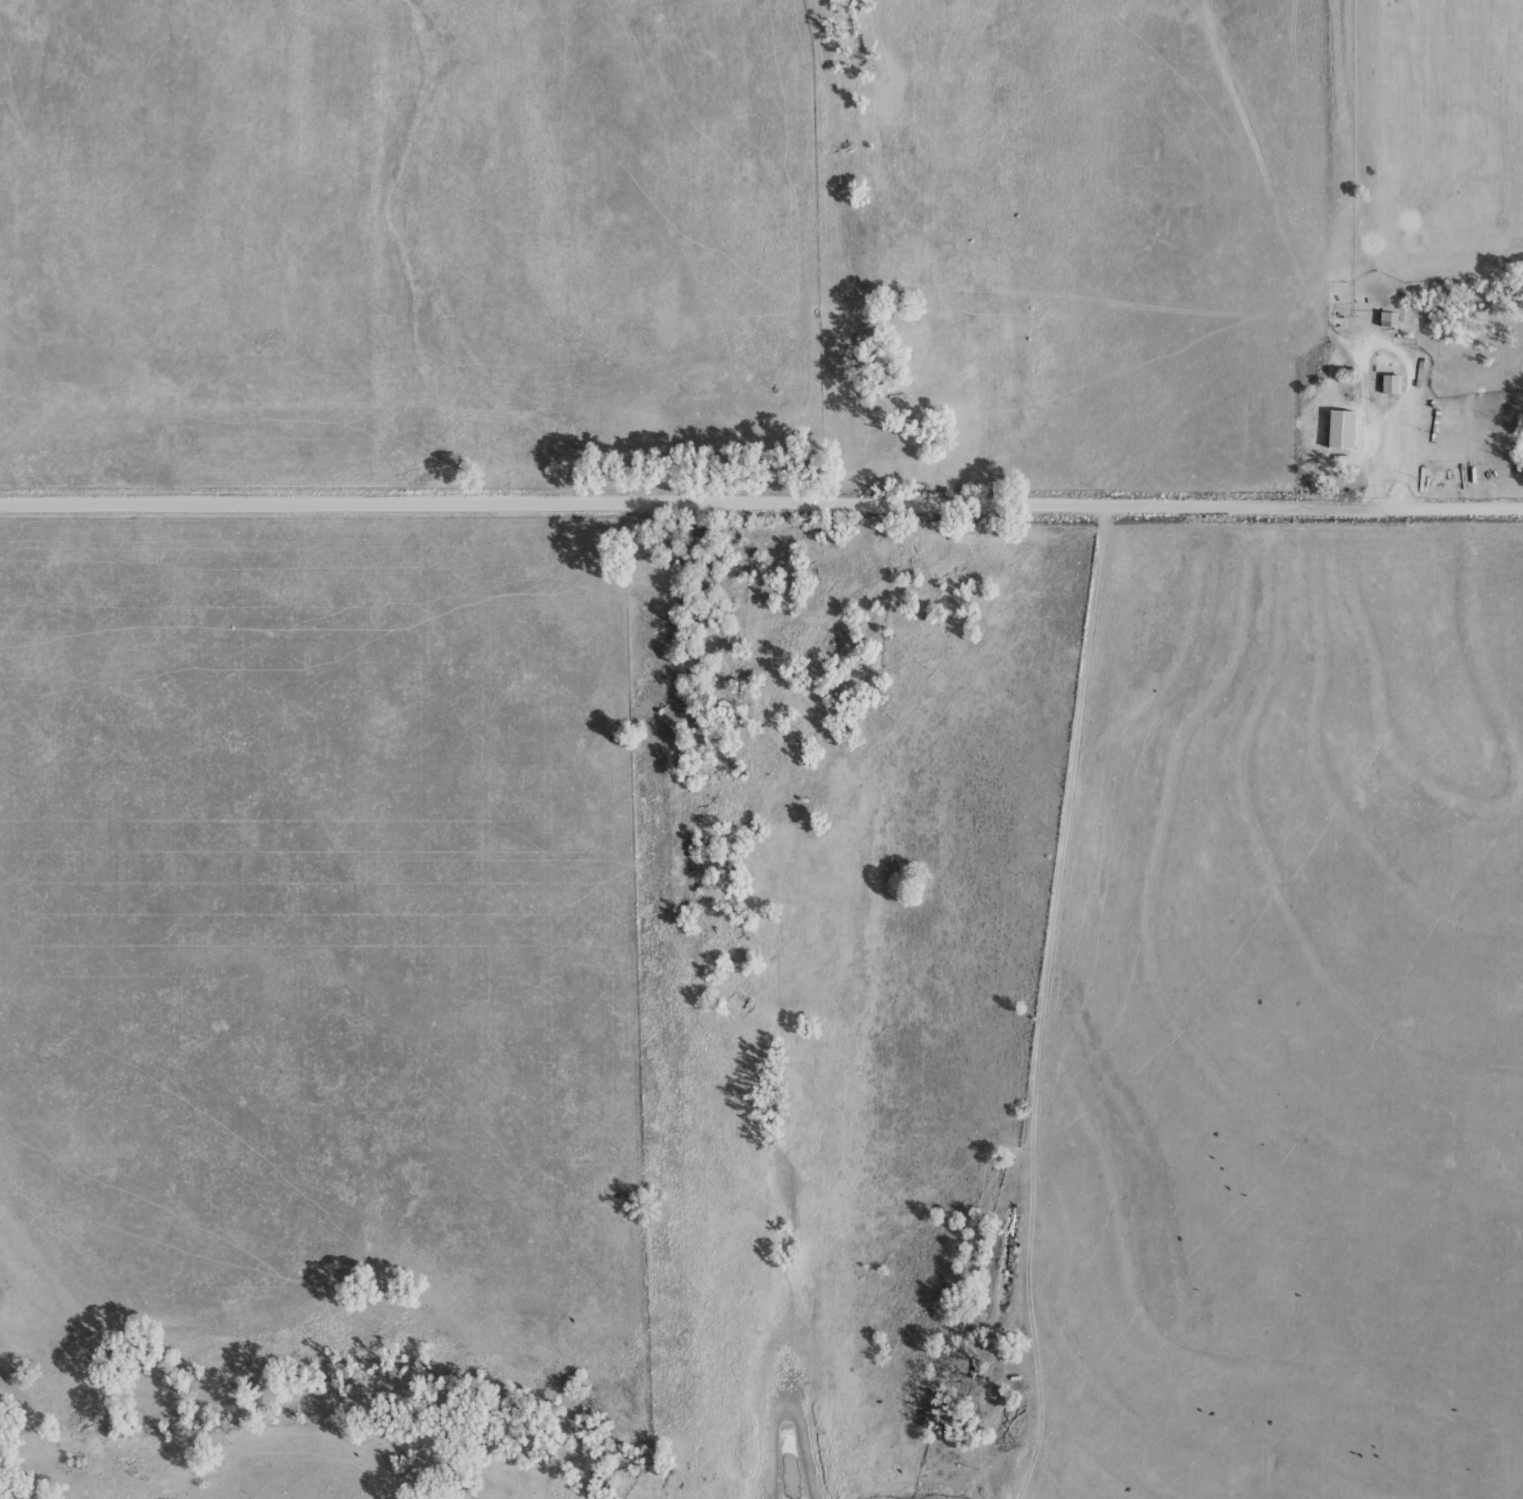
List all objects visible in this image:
building: (1394, 382)
road: (761, 504)
crop: (761, 749)
road: (1014, 999)

